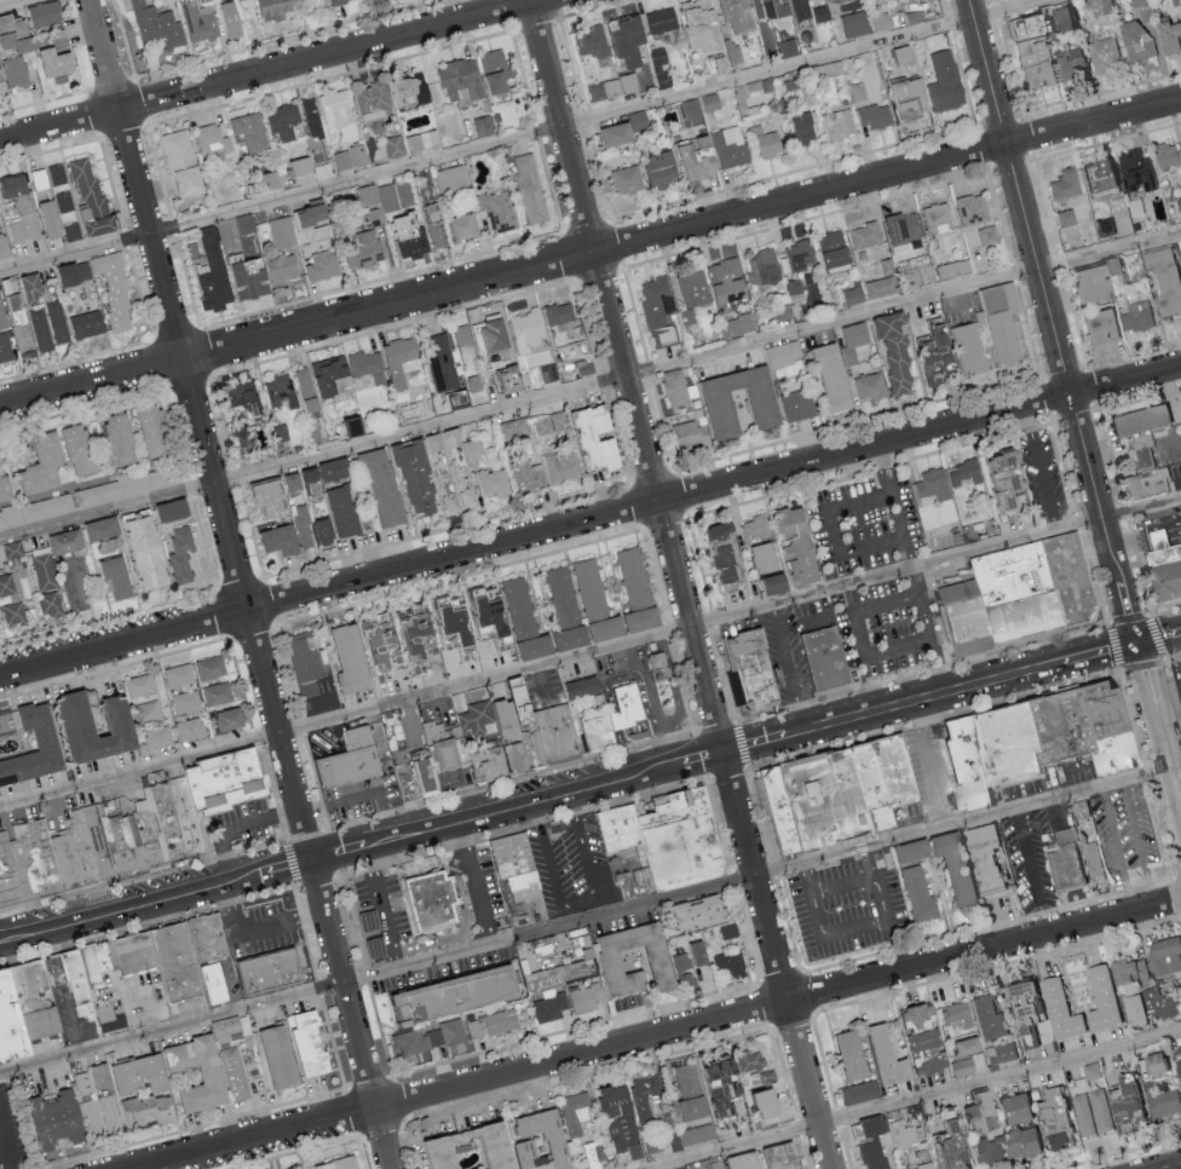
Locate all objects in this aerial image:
building: (339, 1)
building: (1135, 2)
road: (18, 4)
building: (1101, 6)
building: (767, 7)
building: (799, 8)
building: (277, 10)
building: (819, 13)
building: (46, 15)
building: (734, 16)
building: (1060, 18)
building: (231, 21)
building: (661, 21)
building: (880, 22)
building: (200, 23)
building: (851, 24)
building: (157, 25)
building: (696, 25)
building: (17, 34)
building: (1168, 34)
building: (1135, 39)
building: (632, 40)
building: (1179, 40)
building: (592, 41)
building: (785, 47)
building: (1104, 53)
building: (1032, 63)
building: (58, 64)
building: (1070, 64)
building: (499, 71)
building: (17, 73)
road: (280, 73)
building: (2, 76)
building: (462, 80)
building: (941, 81)
building: (613, 88)
building: (855, 91)
building: (411, 93)
building: (376, 100)
building: (708, 103)
building: (339, 106)
building: (871, 116)
building: (312, 119)
building: (284, 122)
building: (835, 123)
building: (484, 127)
building: (800, 127)
building: (250, 129)
road: (530, 133)
building: (609, 133)
building: (764, 138)
building: (213, 140)
building: (425, 142)
building: (727, 146)
building: (396, 148)
building: (1166, 154)
building: (351, 159)
building: (689, 159)
building: (185, 165)
building: (304, 167)
building: (657, 168)
building: (1135, 169)
building: (1096, 173)
building: (48, 178)
building: (453, 179)
building: (624, 179)
building: (1062, 184)
building: (531, 189)
building: (368, 196)
building: (390, 198)
building: (93, 200)
building: (65, 202)
building: (1177, 205)
building: (23, 209)
building: (969, 209)
building: (499, 211)
building: (316, 217)
building: (933, 218)
building: (1064, 218)
building: (52, 220)
building: (436, 226)
building: (465, 228)
building: (898, 228)
building: (73, 232)
building: (283, 234)
building: (323, 234)
building: (986, 234)
building: (862, 235)
building: (410, 237)
building: (5, 248)
building: (364, 250)
building: (830, 252)
building: (797, 254)
road: (590, 255)
building: (981, 257)
building: (1112, 265)
building: (324, 266)
building: (761, 266)
building: (952, 269)
building: (284, 270)
building: (215, 273)
building: (920, 275)
building: (1163, 278)
building: (253, 280)
building: (725, 281)
building: (880, 281)
building: (1085, 283)
building: (35, 288)
building: (691, 288)
building: (116, 292)
building: (851, 295)
building: (787, 300)
building: (656, 310)
building: (557, 312)
building: (4, 315)
building: (1136, 316)
building: (686, 317)
building: (58, 323)
road: (1050, 324)
building: (1096, 324)
building: (90, 326)
building: (737, 326)
building: (523, 330)
building: (985, 330)
building: (42, 332)
building: (484, 335)
building: (25, 341)
building: (462, 341)
building: (851, 341)
building: (6, 350)
building: (892, 351)
building: (927, 351)
building: (782, 353)
building: (398, 359)
building: (440, 362)
building: (364, 365)
building: (327, 373)
building: (547, 373)
building: (825, 376)
building: (869, 386)
road: (590, 390)
building: (290, 397)
building: (246, 398)
building: (719, 398)
building: (794, 404)
building: (407, 411)
building: (1135, 419)
building: (546, 425)
building: (351, 426)
building: (512, 428)
building: (157, 432)
building: (686, 434)
building: (277, 436)
building: (587, 438)
building: (122, 440)
building: (471, 448)
building: (1137, 448)
building: (82, 451)
building: (46, 465)
building: (555, 466)
building: (327, 470)
building: (962, 471)
road: (1043, 471)
building: (427, 473)
building: (525, 474)
building: (152, 480)
building: (286, 482)
building: (491, 482)
building: (931, 483)
building: (998, 483)
building: (1143, 483)
building: (375, 484)
building: (7, 488)
building: (102, 493)
road: (898, 493)
building: (258, 497)
building: (36, 509)
building: (175, 509)
building: (336, 511)
road: (1141, 511)
road: (589, 523)
building: (753, 526)
building: (105, 528)
building: (309, 529)
road: (1143, 532)
road: (839, 534)
building: (275, 540)
building: (70, 541)
building: (15, 551)
building: (150, 551)
building: (183, 552)
building: (716, 552)
building: (784, 553)
building: (756, 557)
building: (1162, 564)
building: (45, 571)
building: (119, 577)
parking lot: (878, 578)
building: (1070, 580)
road: (241, 583)
road: (680, 583)
building: (6, 584)
building: (588, 588)
building: (1015, 594)
building: (561, 597)
building: (624, 600)
building: (51, 605)
building: (518, 607)
building: (479, 611)
building: (16, 614)
building: (444, 621)
building: (966, 621)
building: (408, 635)
building: (546, 643)
building: (375, 652)
road: (893, 653)
building: (342, 660)
parking lot: (784, 660)
building: (824, 660)
building: (301, 662)
road: (551, 666)
building: (212, 667)
road: (940, 669)
building: (664, 670)
road: (787, 672)
building: (750, 674)
building: (180, 675)
parking lot: (1176, 683)
building: (587, 689)
building: (218, 693)
road: (1165, 698)
building: (512, 701)
building: (186, 702)
building: (632, 708)
building: (150, 710)
building: (81, 715)
building: (231, 719)
building: (471, 719)
building: (496, 720)
building: (7, 722)
building: (530, 722)
building: (1060, 725)
building: (1106, 726)
building: (191, 729)
building: (603, 733)
building: (561, 735)
road: (1158, 736)
building: (160, 738)
building: (50, 741)
building: (1007, 743)
building: (449, 748)
building: (519, 759)
building: (355, 760)
building: (494, 761)
road: (932, 767)
building: (967, 768)
building: (430, 774)
building: (409, 776)
building: (881, 776)
building: (227, 782)
road: (590, 790)
building: (823, 800)
building: (778, 810)
road: (299, 813)
building: (188, 818)
road: (968, 824)
building: (623, 829)
building: (169, 830)
building: (685, 837)
building: (102, 842)
building: (136, 843)
parking lot: (1141, 843)
road: (1139, 846)
building: (905, 851)
road: (1114, 853)
road: (1027, 856)
building: (77, 859)
building: (1062, 859)
building: (984, 860)
building: (1091, 860)
building: (39, 864)
parking lot: (1037, 864)
building: (951, 865)
parking lot: (572, 869)
building: (8, 875)
building: (519, 882)
road: (477, 886)
road: (848, 888)
building: (916, 893)
building: (434, 902)
road: (583, 908)
road: (386, 910)
road: (889, 911)
building: (691, 912)
parking lot: (840, 922)
road: (468, 928)
building: (727, 931)
road: (255, 934)
road: (825, 937)
building: (206, 939)
building: (136, 954)
building: (1164, 955)
building: (686, 957)
building: (100, 960)
building: (604, 960)
building: (175, 963)
building: (726, 964)
building: (59, 969)
building: (1128, 969)
building: (270, 973)
road: (379, 979)
building: (558, 980)
building: (686, 980)
building: (212, 985)
building: (81, 986)
road: (227, 991)
building: (444, 995)
building: (1100, 997)
building: (39, 1001)
building: (1160, 1003)
road: (151, 1004)
building: (1058, 1009)
building: (1137, 1009)
building: (956, 1014)
building: (985, 1018)
building: (113, 1019)
road: (75, 1021)
building: (12, 1023)
building: (492, 1024)
road: (668, 1035)
building: (428, 1037)
building: (918, 1040)
building: (312, 1043)
building: (961, 1047)
building: (999, 1053)
building: (842, 1055)
building: (281, 1056)
building: (748, 1060)
building: (1176, 1060)
building: (1152, 1061)
building: (203, 1066)
building: (961, 1067)
building: (872, 1069)
building: (1090, 1070)
building: (236, 1073)
building: (104, 1076)
building: (143, 1076)
building: (701, 1089)
road: (906, 1098)
building: (647, 1100)
building: (1165, 1104)
building: (1009, 1110)
building: (1101, 1110)
building: (150, 1111)
building: (110, 1113)
building: (574, 1113)
building: (974, 1113)
building: (1084, 1115)
building: (94, 1117)
building: (1053, 1117)
building: (612, 1118)
building: (59, 1119)
building: (868, 1125)
building: (696, 1134)
building: (548, 1138)
building: (673, 1142)
building: (908, 1142)
building: (483, 1145)
building: (1006, 1145)
road: (312, 1147)
building: (941, 1147)
road: (5, 1148)
building: (428, 1153)
building: (874, 1154)
building: (774, 1156)
building: (737, 1161)
building: (336, 1165)
building: (707, 1165)
road: (1173, 1167)

